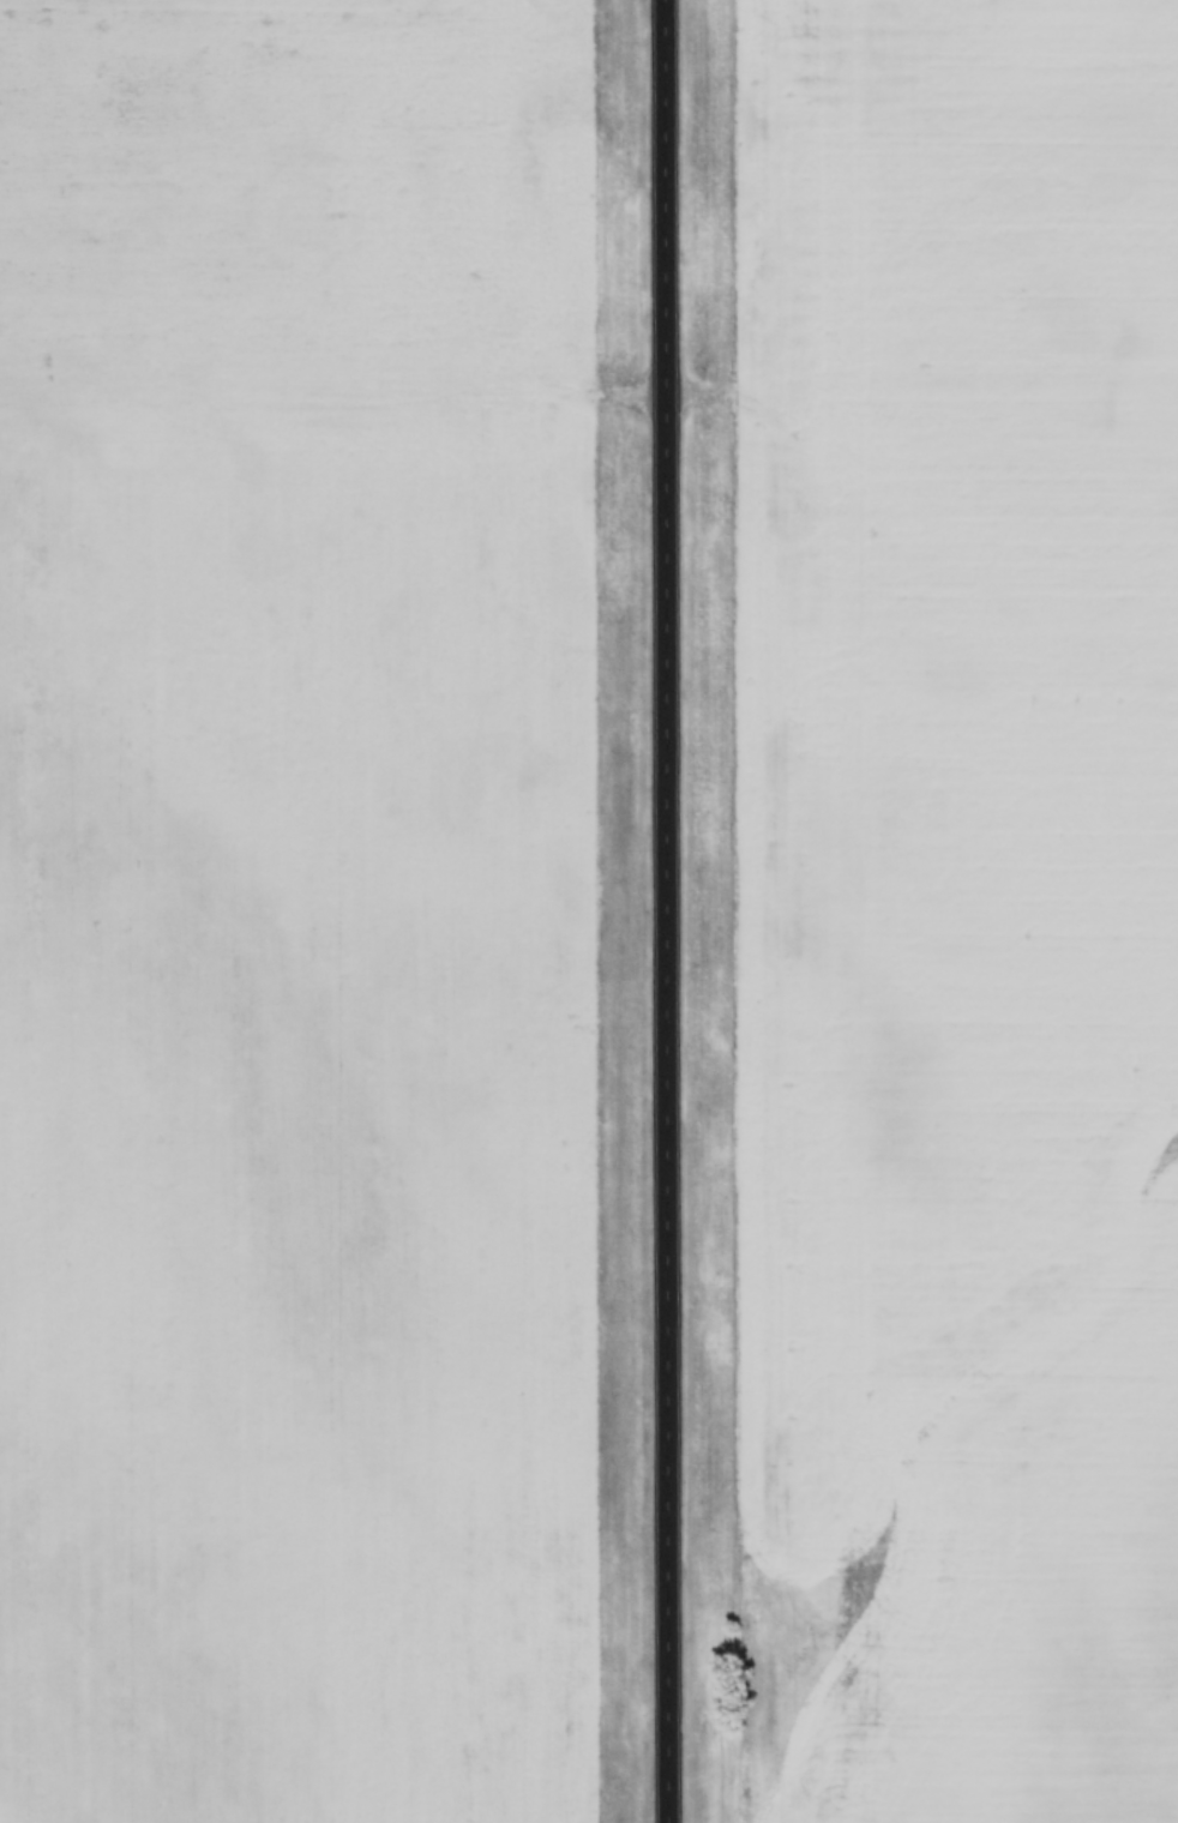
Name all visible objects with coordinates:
road: (675, 911)

